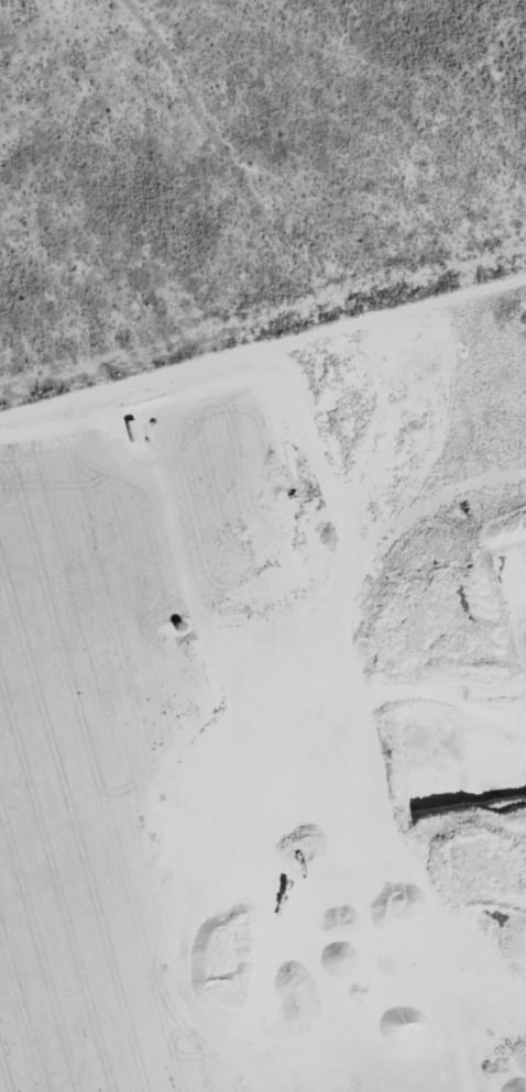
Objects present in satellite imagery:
road: (270, 169)
road: (262, 371)

